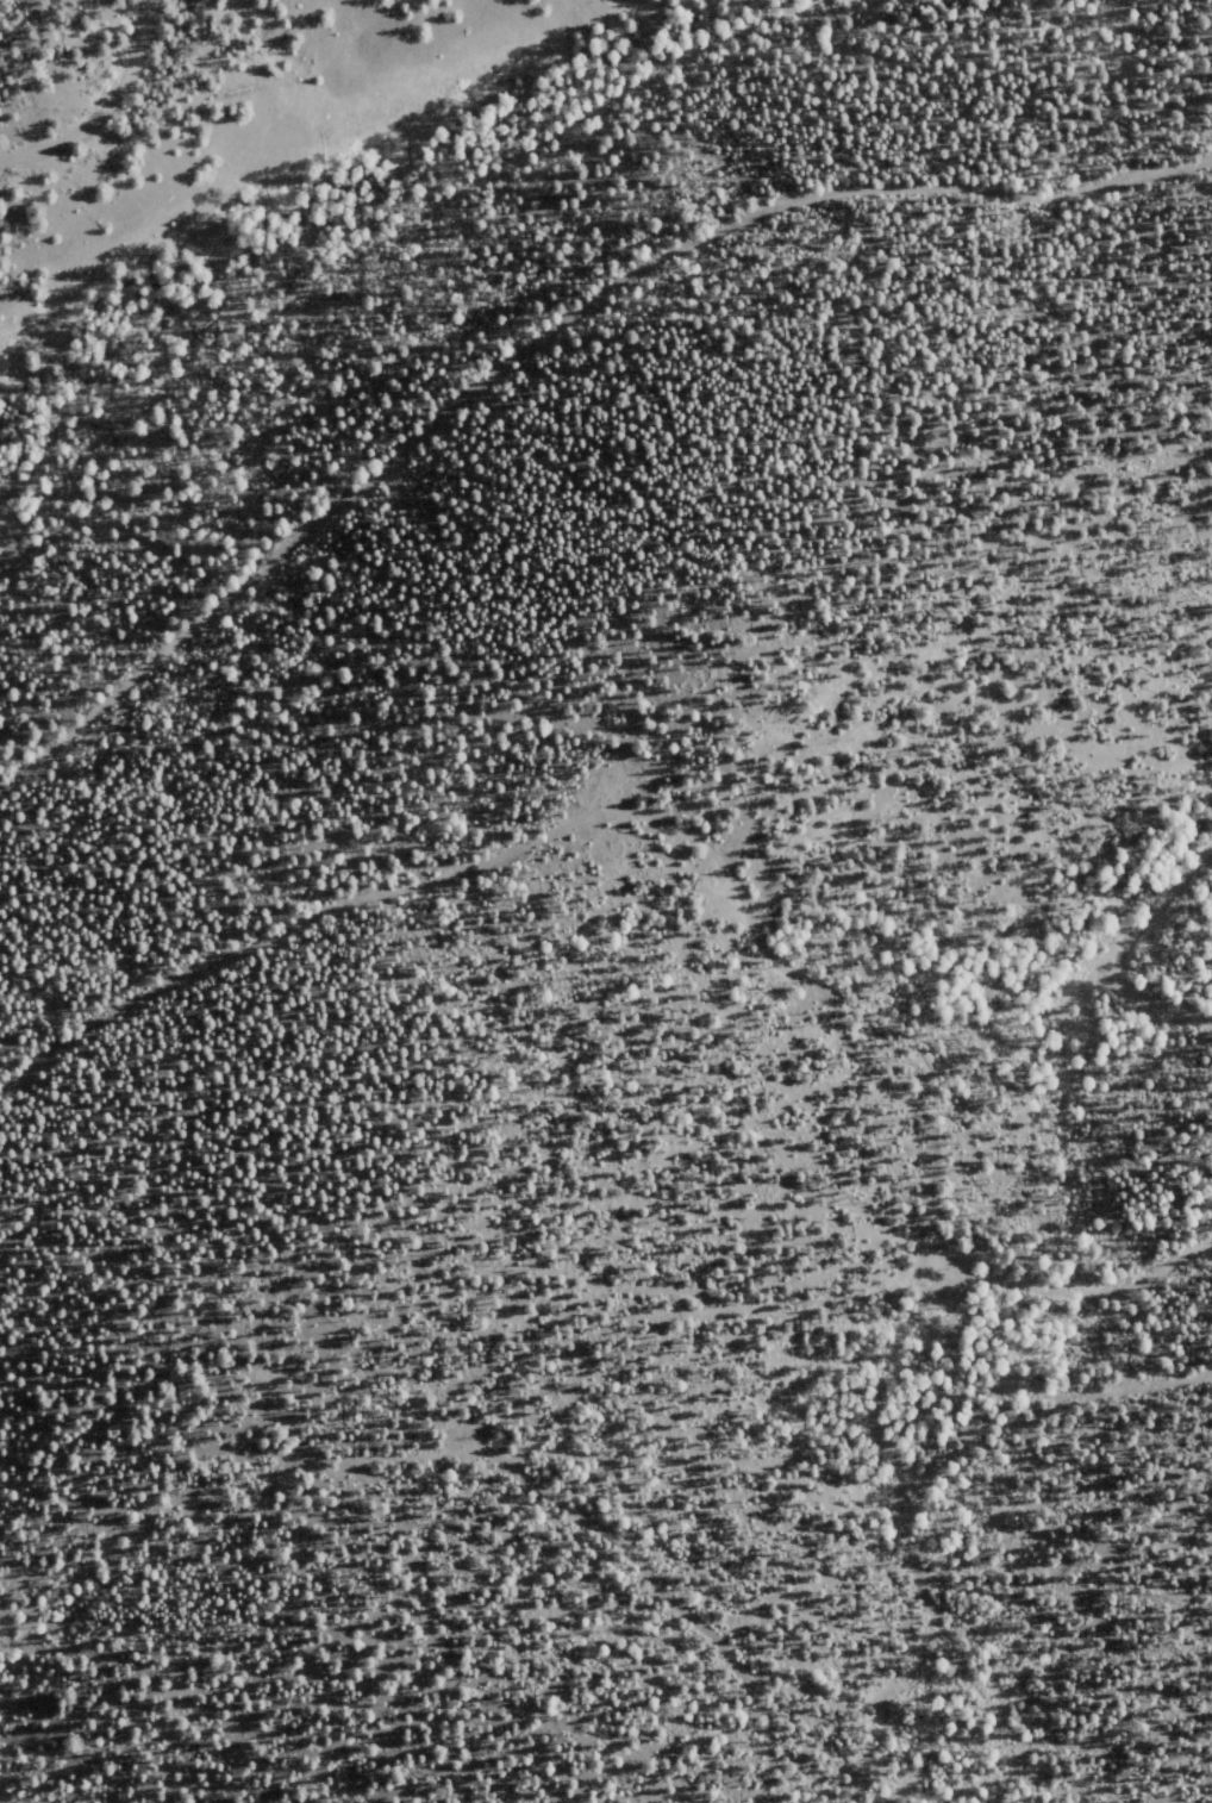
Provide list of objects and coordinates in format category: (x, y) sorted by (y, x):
road: (100, 80)
road: (552, 381)

